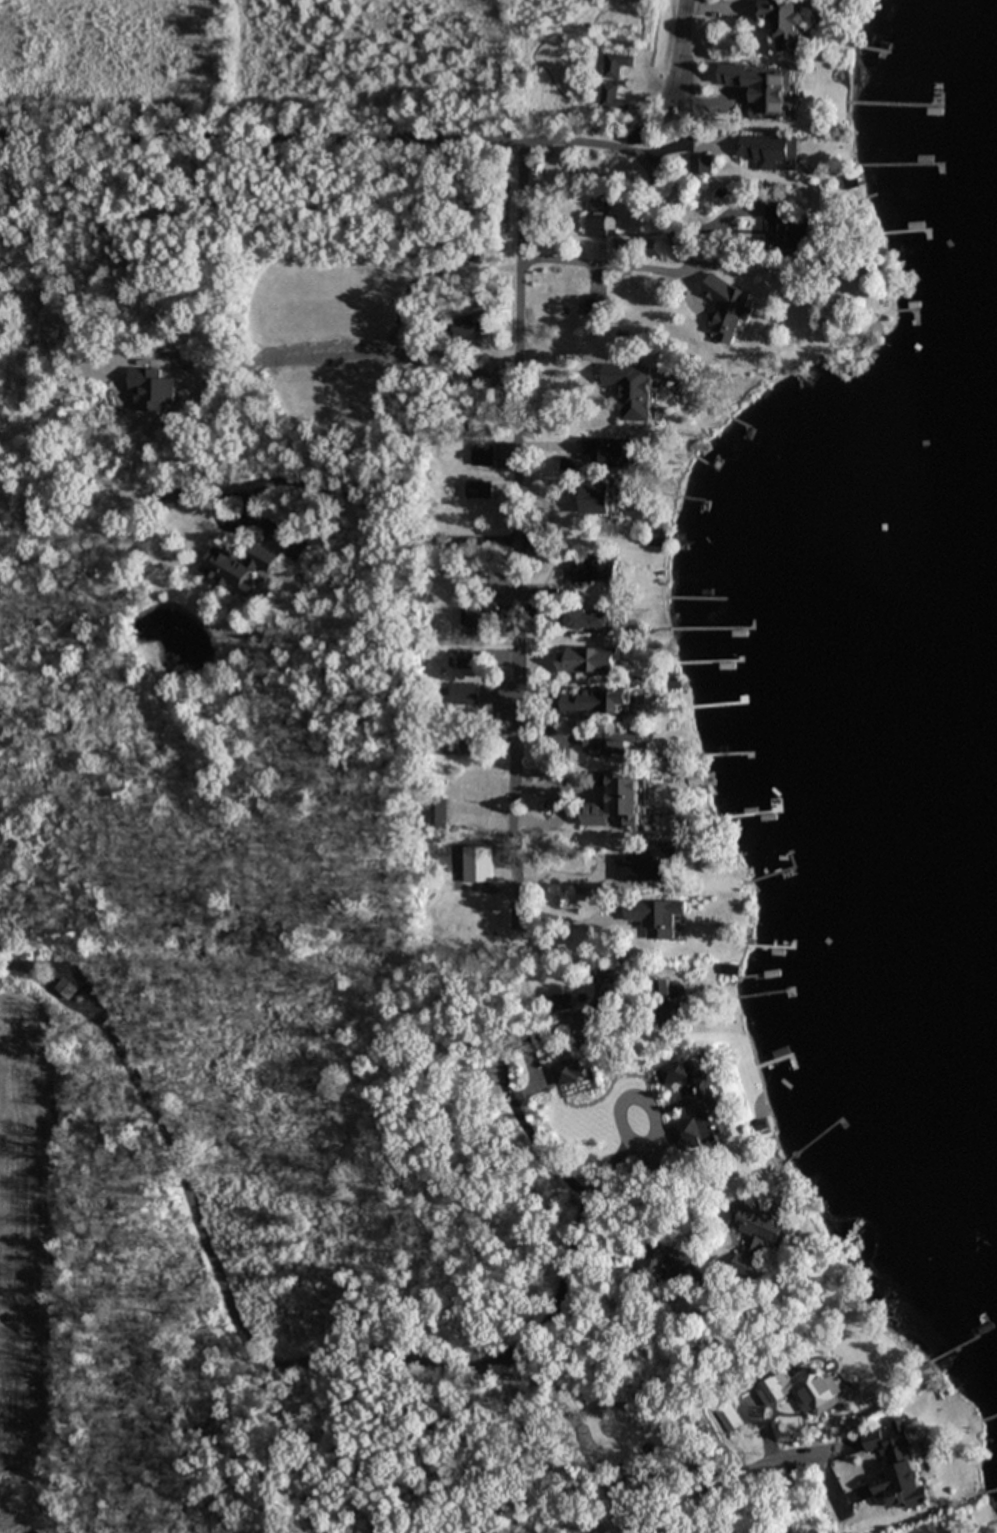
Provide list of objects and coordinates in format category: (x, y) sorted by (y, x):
building: (784, 23)
road: (684, 49)
building: (616, 64)
building: (762, 87)
building: (612, 97)
road: (261, 147)
road: (665, 148)
road: (582, 150)
building: (770, 150)
building: (701, 164)
building: (599, 224)
building: (785, 228)
road: (727, 237)
road: (668, 272)
building: (596, 304)
building: (727, 308)
building: (468, 324)
building: (632, 388)
building: (604, 450)
building: (482, 452)
building: (478, 488)
road: (353, 494)
building: (595, 498)
building: (658, 538)
road: (519, 544)
building: (236, 566)
building: (592, 567)
building: (471, 619)
building: (590, 619)
building: (589, 660)
building: (462, 693)
building: (594, 700)
building: (617, 738)
building: (450, 742)
road: (571, 777)
building: (620, 802)
road: (561, 805)
building: (438, 809)
building: (658, 915)
building: (559, 1001)
building: (672, 1003)
building: (627, 1113)
building: (699, 1115)
building: (757, 1234)
building: (653, 1256)
road: (355, 1356)
building: (860, 1367)
road: (592, 1404)
building: (896, 1465)
building: (843, 1475)

